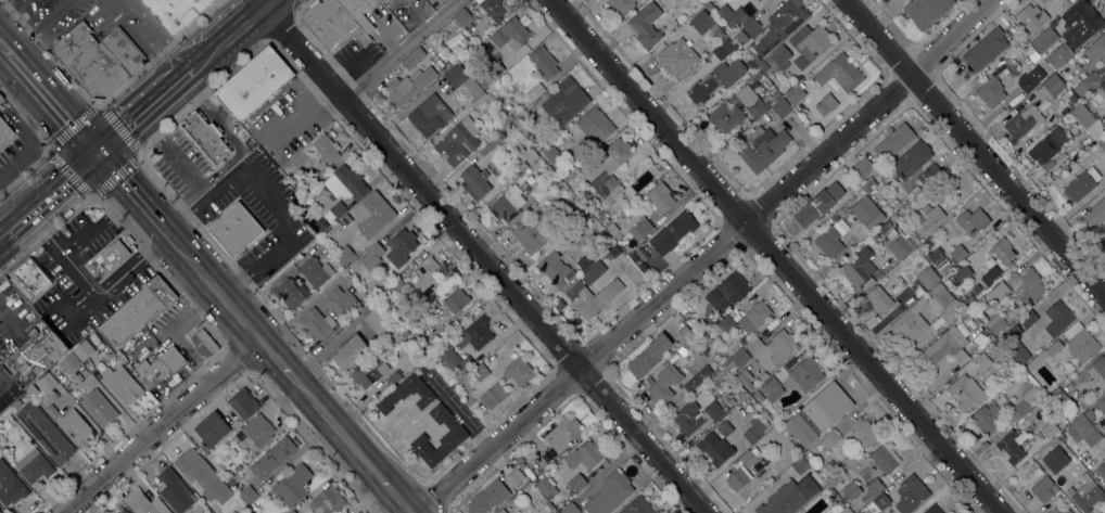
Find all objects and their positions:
building: (212, 0)
building: (755, 0)
building: (759, 0)
building: (383, 1)
building: (1067, 1)
road: (259, 2)
road: (265, 2)
building: (709, 5)
building: (622, 7)
building: (492, 8)
road: (10, 10)
building: (926, 11)
building: (175, 12)
building: (357, 12)
building: (1032, 12)
building: (732, 15)
building: (463, 20)
building: (1079, 22)
road: (38, 23)
building: (331, 24)
building: (706, 24)
building: (1019, 24)
road: (39, 25)
building: (645, 25)
building: (780, 25)
building: (751, 28)
road: (162, 33)
building: (510, 34)
building: (1016, 35)
road: (227, 36)
building: (740, 36)
building: (1045, 40)
road: (22, 41)
road: (138, 41)
road: (2, 46)
road: (401, 49)
building: (986, 49)
building: (123, 50)
building: (1096, 50)
building: (721, 52)
building: (800, 52)
building: (455, 53)
building: (1059, 55)
building: (676, 57)
building: (412, 59)
building: (543, 62)
building: (90, 63)
building: (468, 68)
building: (840, 73)
building: (491, 75)
building: (460, 79)
building: (715, 80)
building: (1030, 80)
building: (1091, 81)
building: (254, 85)
building: (1103, 86)
building: (1050, 87)
building: (405, 88)
building: (534, 92)
building: (990, 92)
building: (796, 94)
building: (775, 95)
building: (1071, 98)
building: (1, 99)
building: (480, 99)
road: (49, 101)
building: (564, 101)
building: (751, 101)
building: (826, 104)
building: (780, 108)
road: (141, 110)
road: (301, 110)
building: (429, 115)
building: (725, 117)
building: (519, 120)
railway: (138, 121)
building: (1023, 121)
building: (1088, 123)
building: (595, 125)
building: (507, 128)
building: (4, 130)
building: (205, 136)
building: (458, 141)
building: (893, 142)
building: (1102, 142)
building: (491, 144)
building: (1047, 145)
building: (762, 146)
road: (974, 148)
building: (326, 149)
traffic signals: (93, 153)
building: (550, 153)
building: (528, 154)
building: (909, 159)
building: (522, 166)
building: (861, 168)
building: (611, 169)
building: (925, 177)
building: (577, 178)
building: (741, 178)
building: (529, 180)
building: (475, 181)
building: (556, 182)
building: (345, 183)
building: (635, 183)
building: (521, 184)
building: (867, 184)
building: (1081, 184)
building: (538, 192)
road: (48, 193)
road: (132, 197)
building: (657, 200)
building: (507, 205)
building: (817, 205)
building: (301, 207)
building: (334, 211)
building: (866, 213)
building: (372, 214)
building: (1095, 214)
building: (599, 217)
building: (930, 217)
building: (345, 220)
building: (971, 221)
building: (229, 222)
road: (96, 225)
building: (319, 226)
building: (884, 226)
building: (611, 228)
building: (640, 229)
building: (672, 232)
road: (1, 233)
building: (530, 234)
building: (890, 234)
building: (874, 235)
building: (829, 242)
building: (399, 246)
building: (899, 247)
building: (920, 249)
building: (374, 251)
building: (957, 253)
building: (1003, 253)
building: (640, 254)
building: (345, 255)
building: (634, 256)
road: (709, 256)
road: (773, 256)
building: (110, 257)
building: (937, 257)
road: (484, 258)
building: (584, 262)
building: (554, 268)
building: (859, 269)
building: (317, 270)
building: (961, 273)
building: (584, 274)
building: (990, 274)
building: (31, 277)
building: (428, 277)
building: (927, 278)
building: (395, 285)
road: (112, 286)
building: (1030, 286)
building: (999, 291)
building: (727, 292)
building: (968, 292)
road: (216, 293)
building: (291, 293)
building: (592, 296)
building: (879, 299)
building: (456, 300)
building: (340, 302)
building: (947, 303)
building: (136, 312)
road: (82, 313)
building: (754, 317)
building: (1008, 317)
building: (1027, 318)
building: (1057, 318)
building: (317, 322)
building: (910, 322)
building: (377, 323)
building: (937, 323)
building: (995, 323)
building: (454, 324)
building: (726, 324)
building: (1013, 331)
building: (684, 332)
building: (405, 333)
building: (473, 334)
building: (437, 335)
building: (414, 338)
building: (989, 338)
building: (742, 339)
building: (1080, 342)
building: (204, 343)
building: (772, 348)
building: (944, 349)
building: (82, 350)
building: (1018, 352)
building: (347, 354)
building: (414, 354)
building: (1045, 354)
building: (35, 356)
building: (648, 356)
road: (274, 358)
building: (736, 359)
building: (456, 361)
building: (982, 361)
building: (68, 363)
building: (141, 367)
building: (162, 368)
building: (1097, 368)
building: (482, 370)
building: (369, 371)
building: (519, 371)
building: (805, 373)
building: (763, 375)
building: (1062, 376)
building: (393, 377)
building: (696, 379)
building: (745, 379)
building: (46, 383)
building: (122, 384)
building: (664, 384)
building: (738, 389)
building: (771, 389)
building: (30, 390)
building: (408, 392)
building: (965, 392)
building: (10, 395)
building: (493, 396)
building: (758, 397)
building: (1058, 398)
building: (1026, 400)
building: (738, 401)
building: (1102, 405)
building: (827, 407)
building: (99, 408)
building: (713, 411)
building: (52, 412)
building: (1089, 414)
building: (987, 418)
building: (688, 419)
building: (212, 420)
building: (770, 423)
road: (333, 426)
building: (76, 427)
road: (163, 428)
building: (724, 428)
building: (800, 429)
building: (1050, 429)
building: (258, 431)
building: (753, 431)
building: (863, 432)
building: (1082, 432)
building: (46, 433)
building: (560, 433)
building: (1104, 435)
building: (454, 437)
building: (829, 439)
building: (1011, 447)
building: (715, 449)
building: (1053, 452)
building: (549, 456)
building: (584, 456)
building: (749, 457)
building: (272, 458)
building: (885, 458)
building: (849, 460)
building: (799, 464)
building: (34, 465)
building: (237, 469)
building: (531, 470)
building: (1102, 470)
building: (1065, 471)
building: (202, 475)
building: (228, 475)
building: (513, 477)
building: (738, 478)
building: (1077, 479)
building: (574, 483)
building: (10, 486)
building: (292, 486)
building: (544, 486)
building: (1063, 486)
building: (875, 487)
building: (1043, 489)
building: (175, 490)
building: (851, 490)
building: (610, 493)
building: (247, 495)
building: (791, 495)
building: (910, 495)
building: (1087, 496)
road: (393, 497)
building: (487, 497)
building: (866, 499)
building: (328, 501)
building: (143, 503)
building: (879, 503)
building: (838, 504)
building: (637, 506)
building: (546, 508)
building: (569, 508)
building: (932, 510)
building: (123, 511)
building: (501, 511)
building: (844, 511)
building: (1052, 511)
building: (1065, 511)
building: (0, 512)
building: (292, 512)
building: (342, 512)
building: (555, 512)
building: (861, 512)

